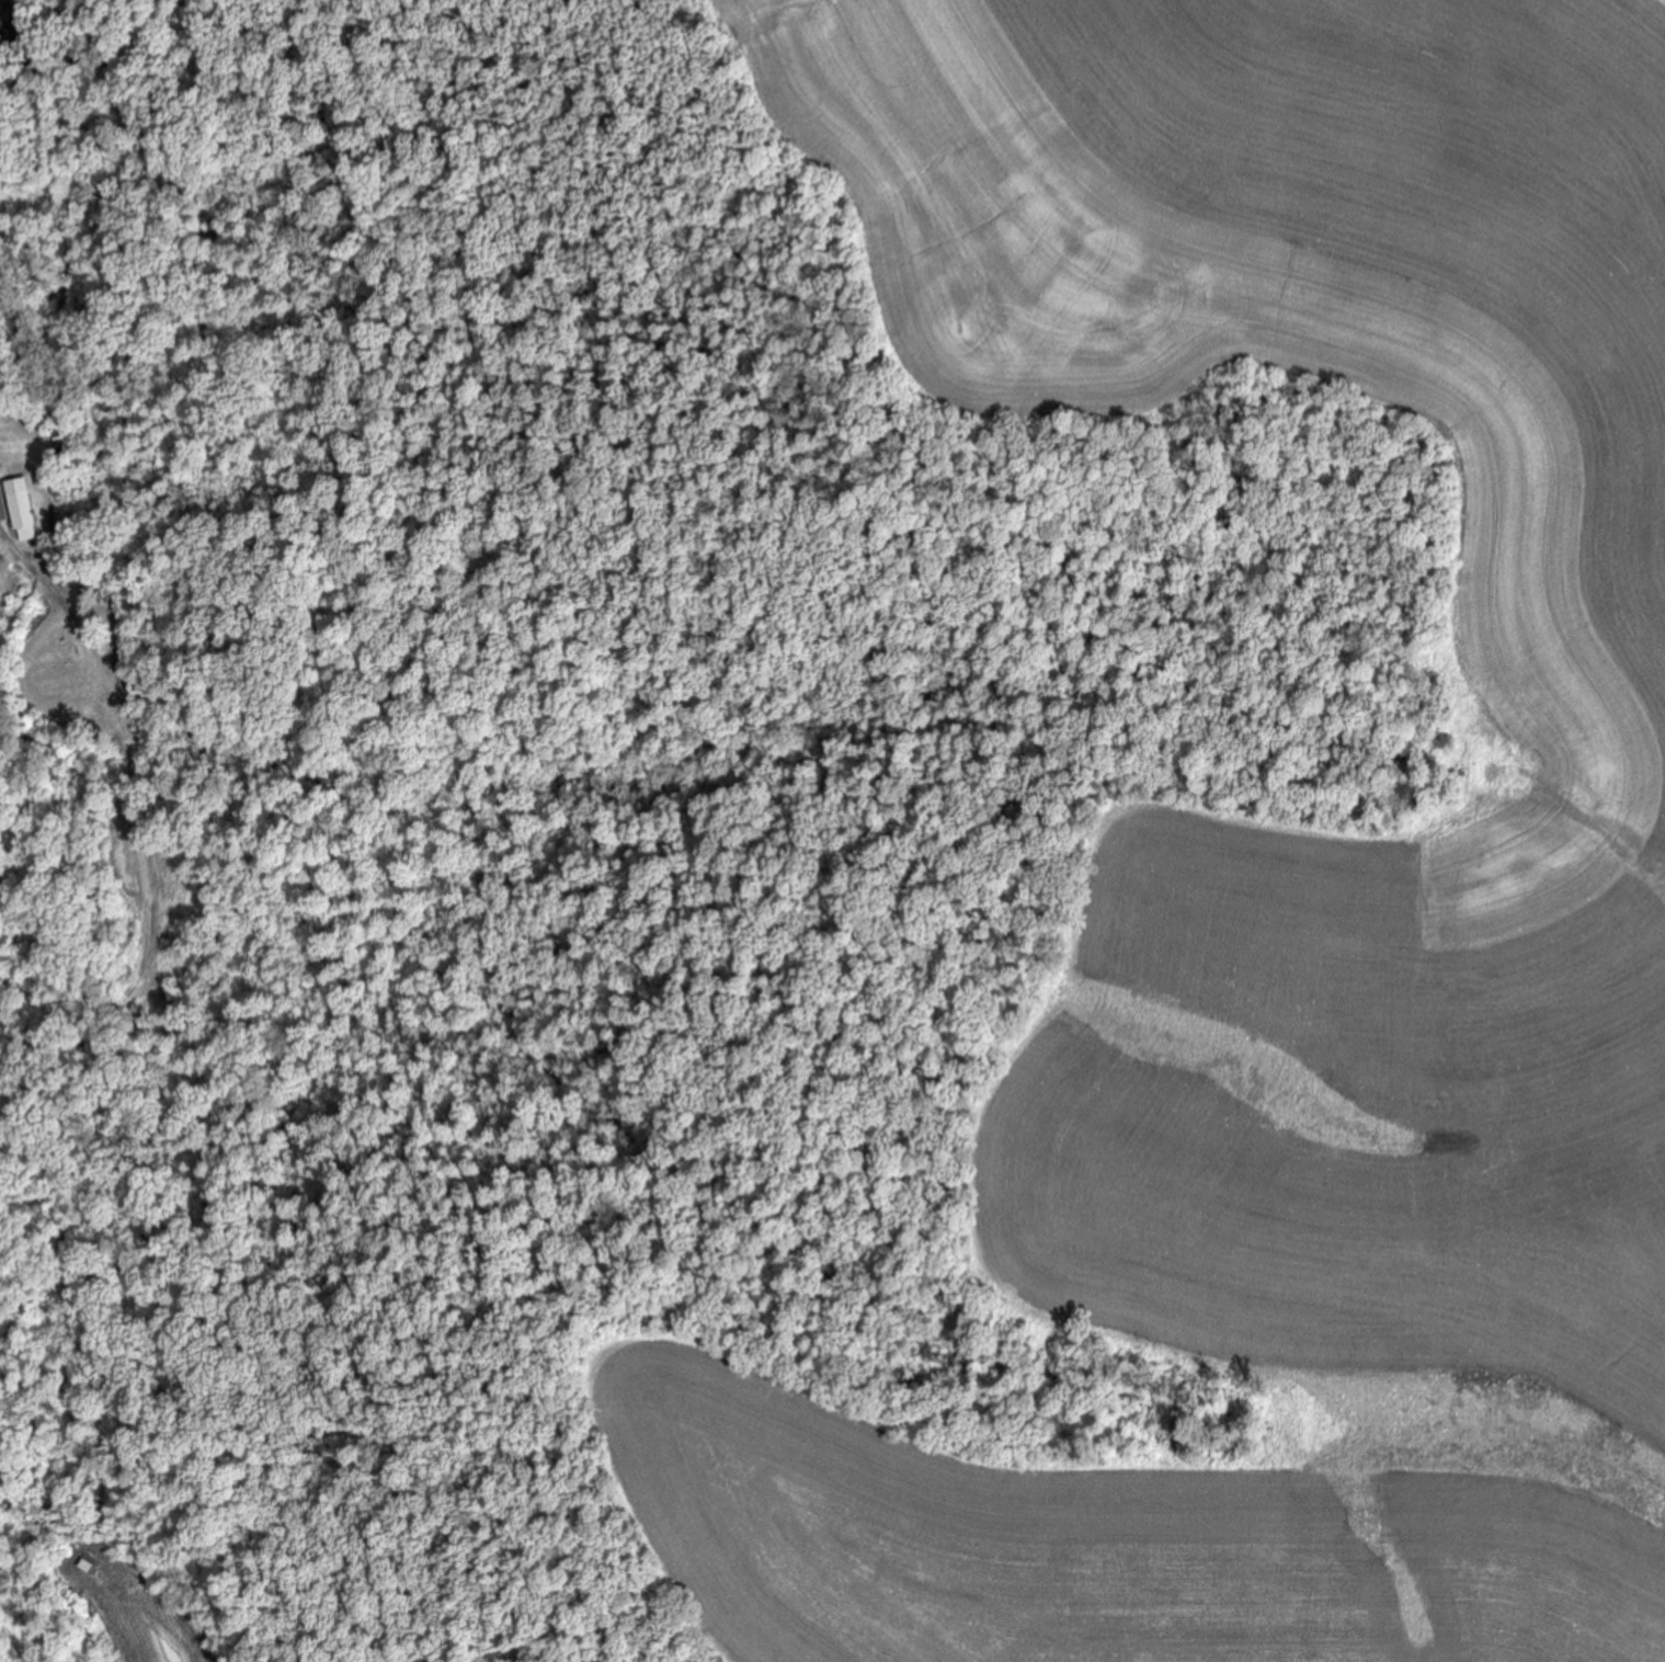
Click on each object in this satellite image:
road: (285, 48)
road: (250, 96)
building: (23, 511)
building: (0, 589)
building: (90, 1566)

